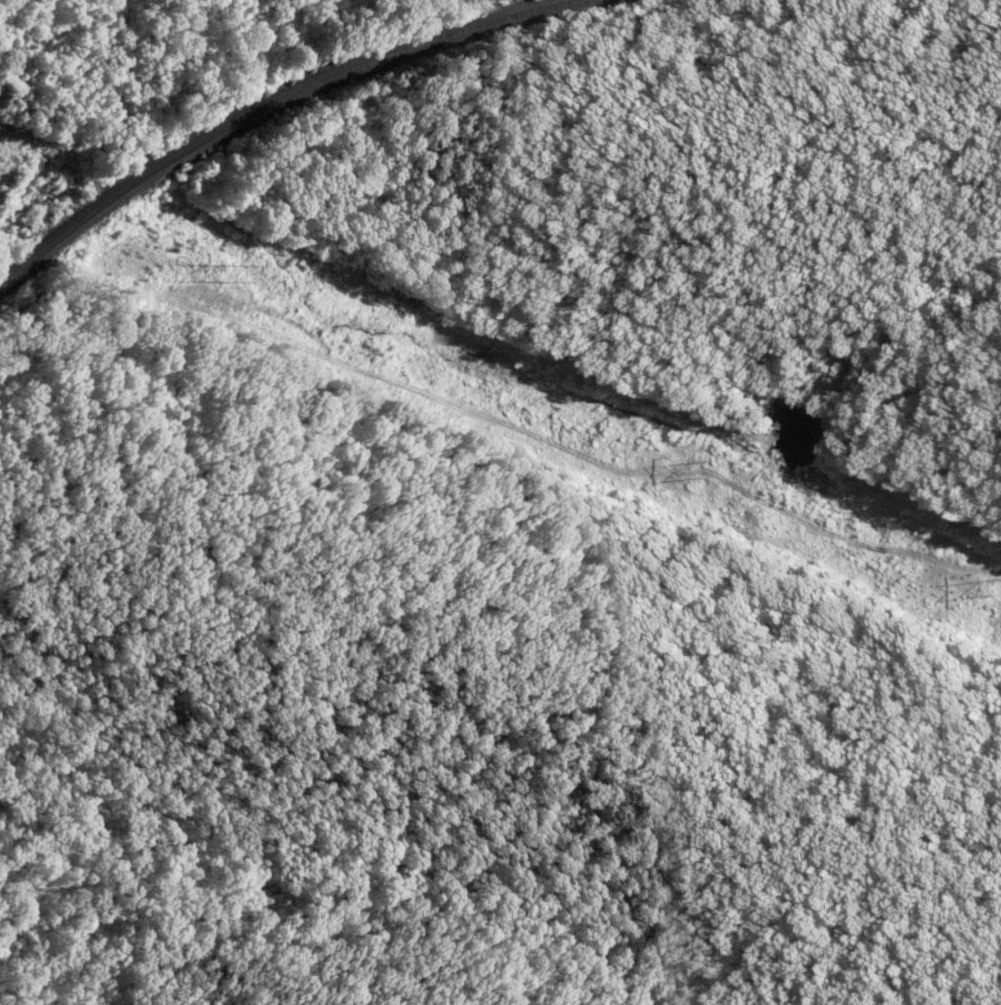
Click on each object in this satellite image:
railway: (279, 101)
power tower: (228, 276)
power tower: (706, 471)
power tower: (999, 591)

